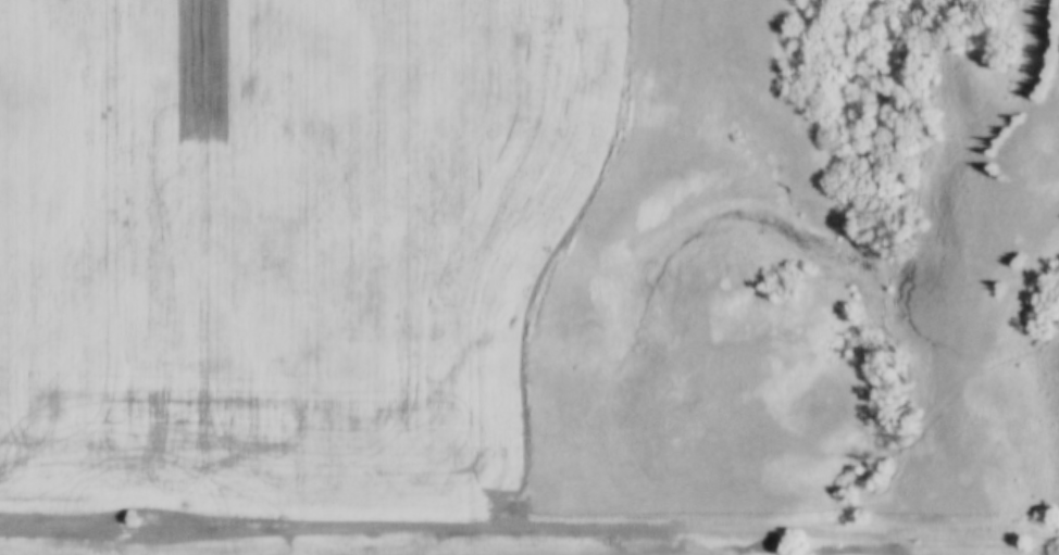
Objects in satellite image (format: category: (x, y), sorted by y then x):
road: (529, 516)

